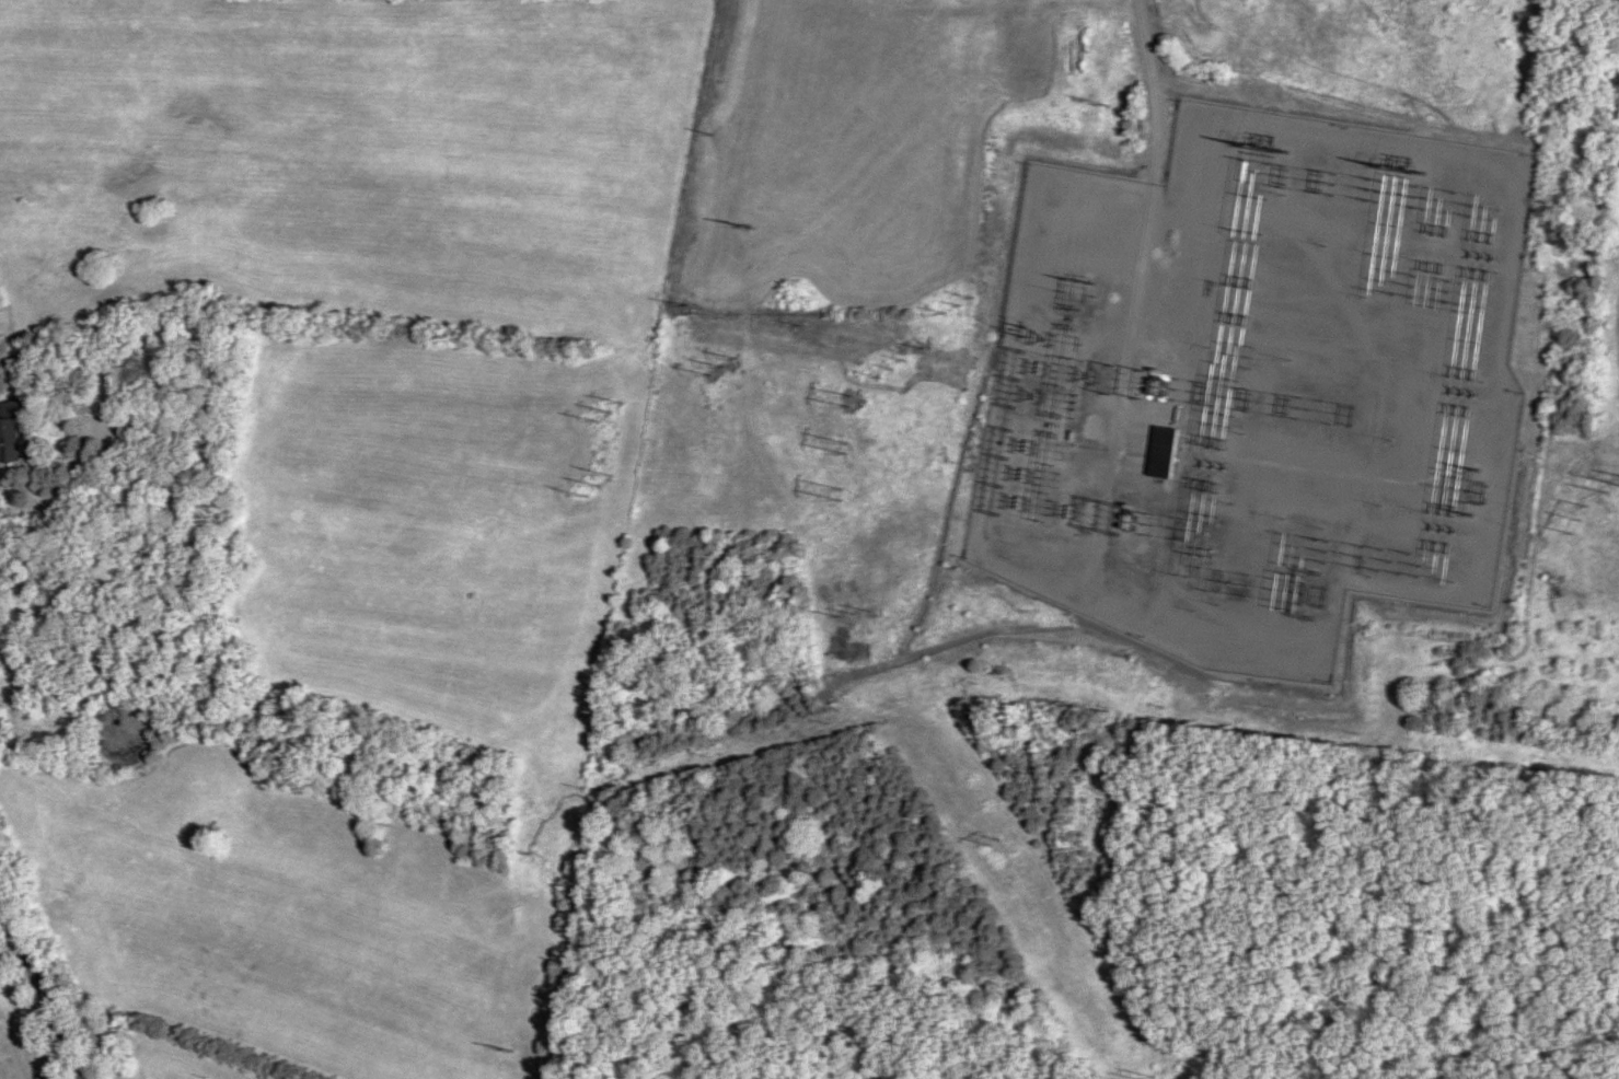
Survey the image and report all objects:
power tower: (745, 221)
power tower: (960, 302)
power tower: (1042, 333)
power tower: (725, 361)
power tower: (894, 367)
power substation: (1257, 382)
power tower: (848, 398)
power tower: (610, 408)
building: (13, 429)
power tower: (844, 444)
building: (1165, 449)
power tower: (1024, 472)
power tower: (599, 479)
power tower: (843, 489)
power tower: (1580, 518)
power tower: (859, 612)
road: (101, 721)
power tower: (996, 839)
road: (49, 974)
power tower: (509, 1046)
power tower: (1145, 1078)

